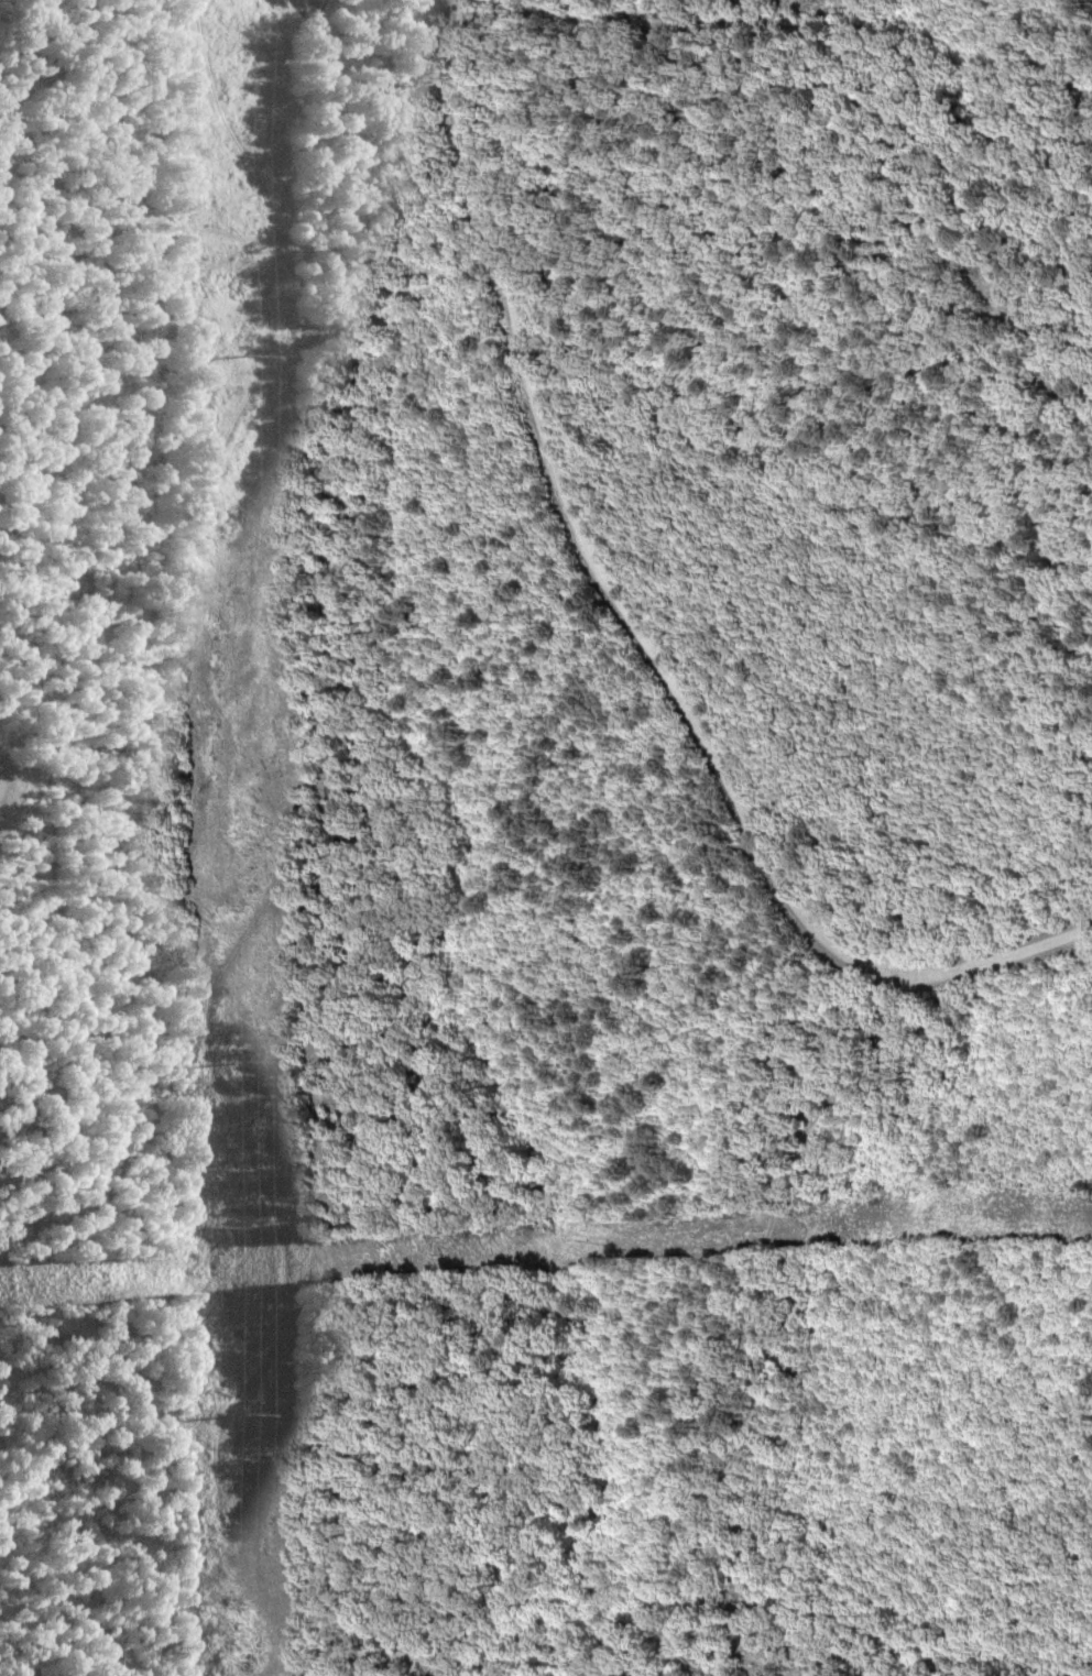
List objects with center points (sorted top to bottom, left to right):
power tower: (240, 358)
road: (638, 618)
power tower: (242, 1065)
road: (744, 1319)
power tower: (247, 1414)
road: (386, 1657)

